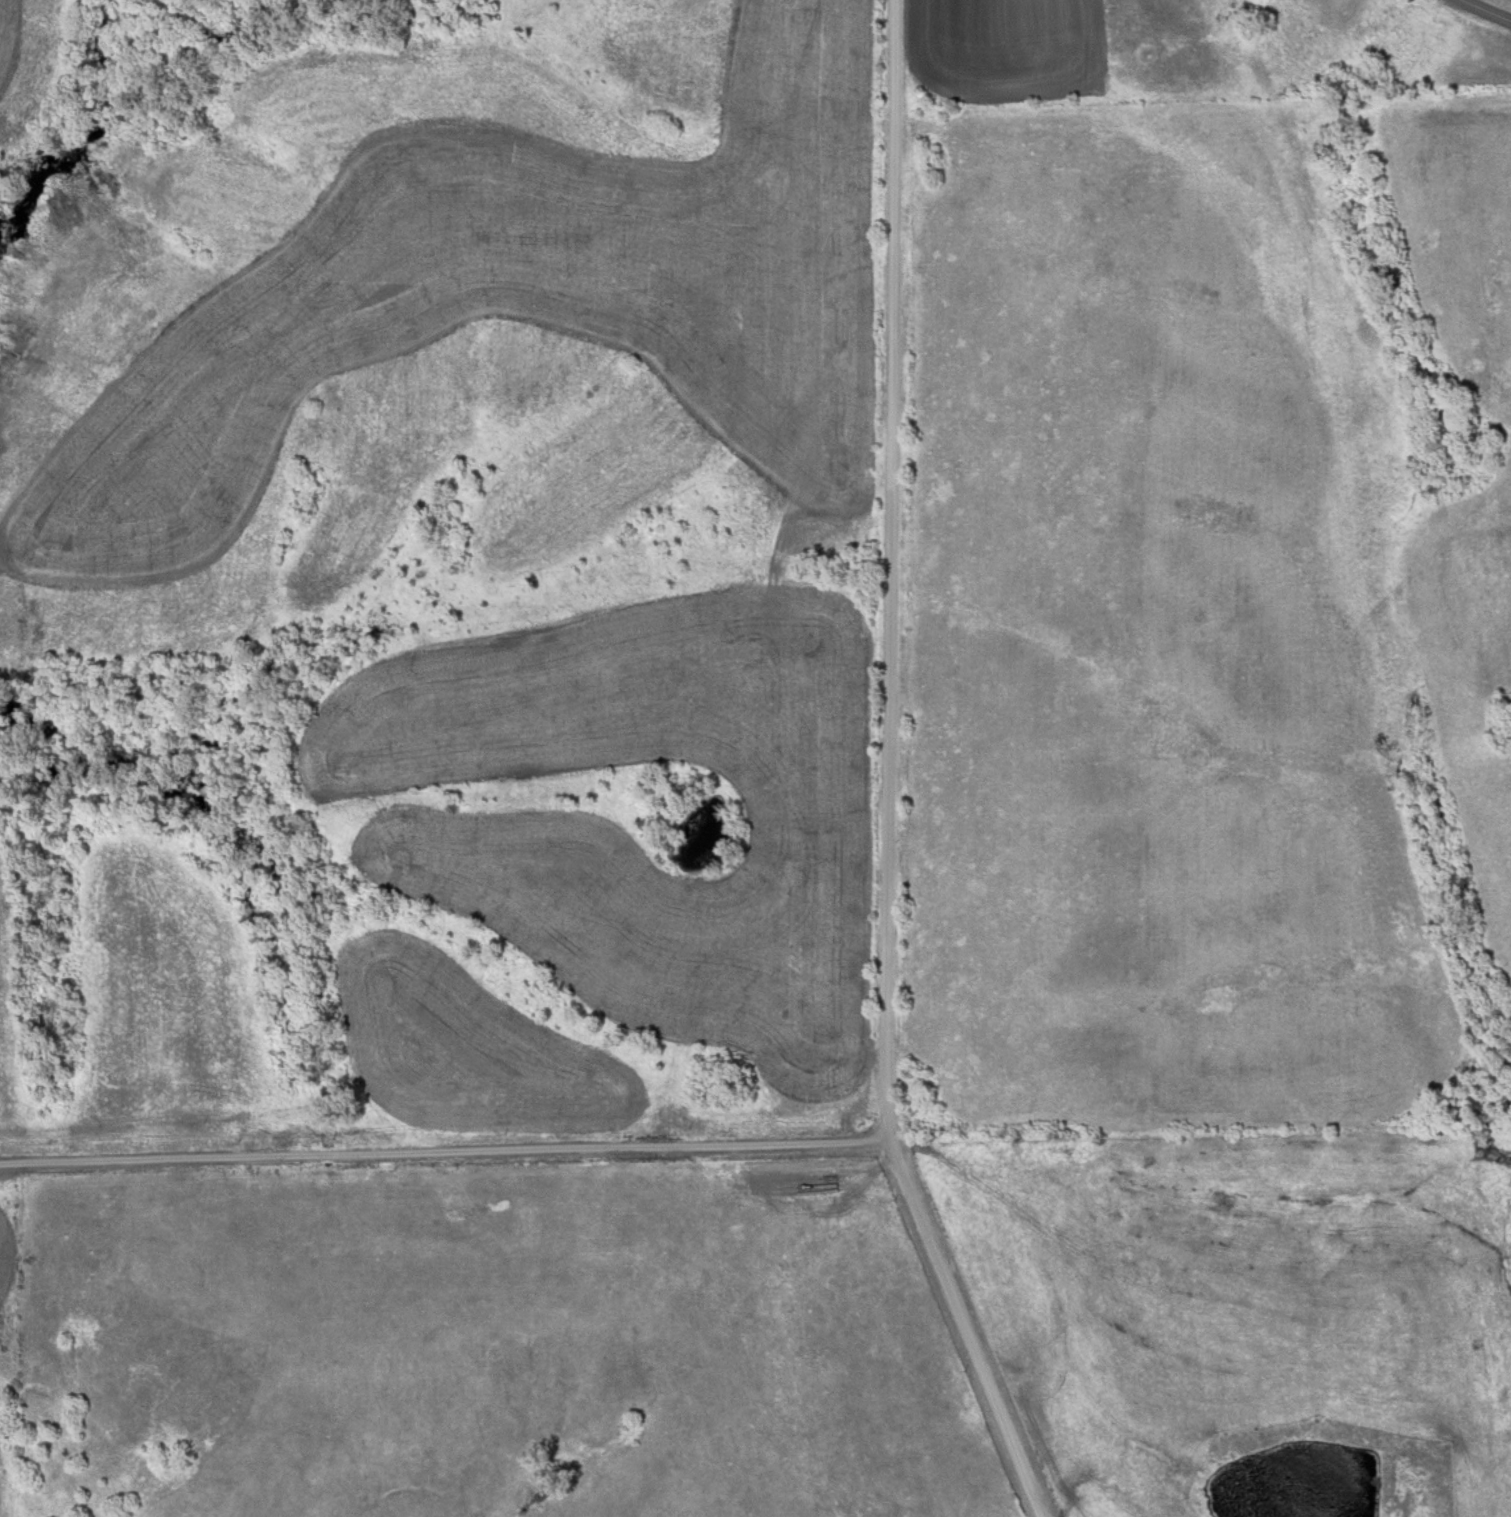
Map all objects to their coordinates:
road: (1492, 7)
road: (886, 772)
road: (445, 1128)

